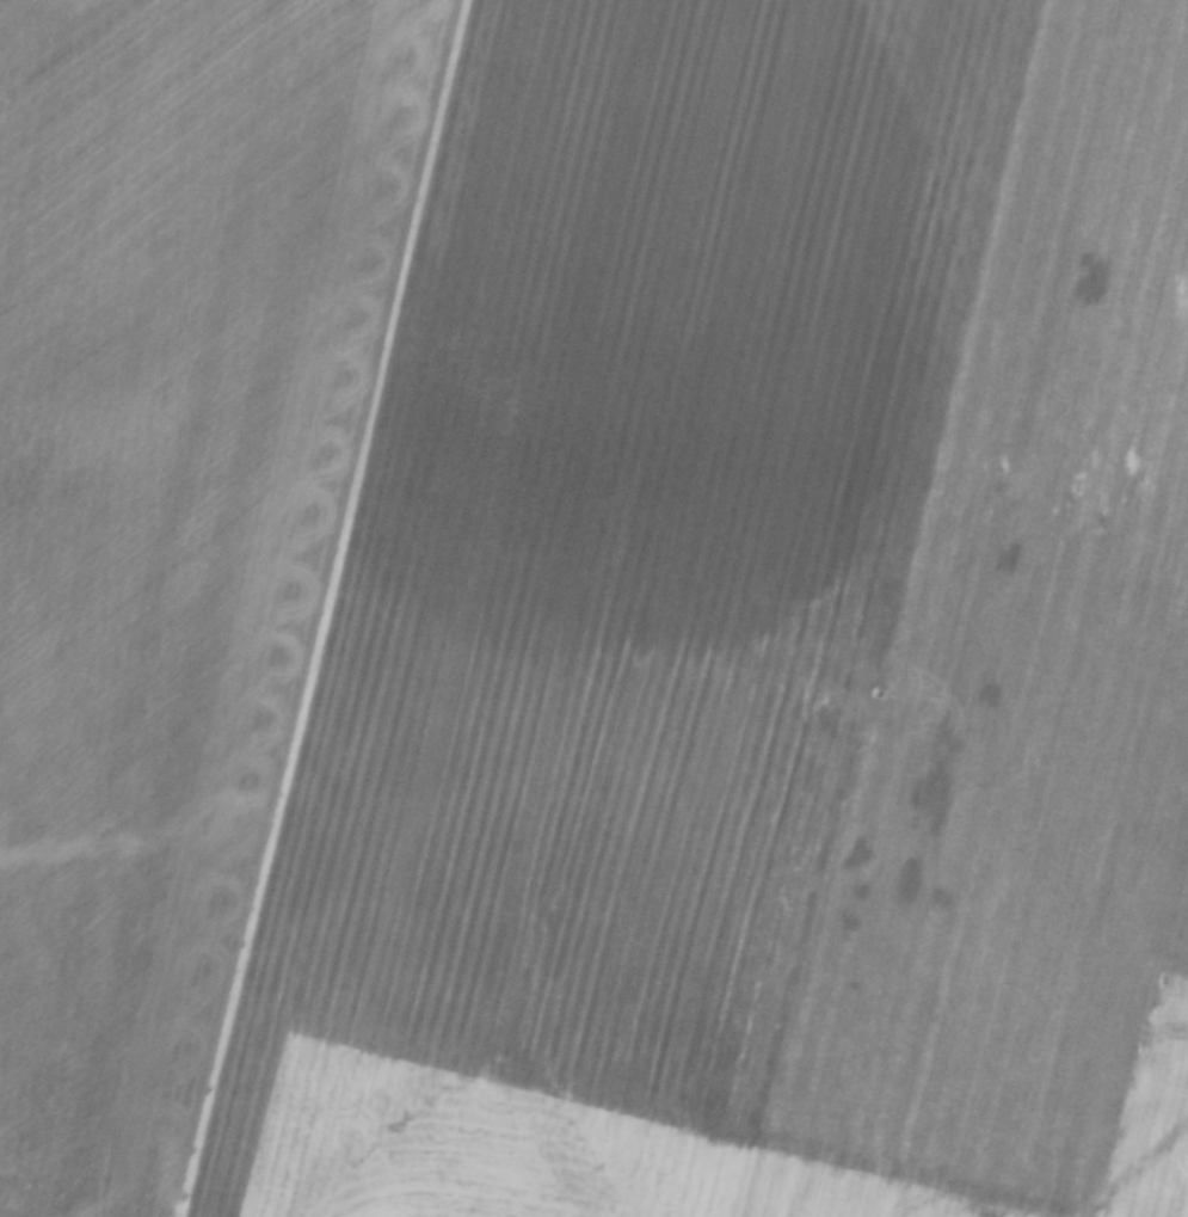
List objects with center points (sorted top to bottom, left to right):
road: (319, 609)
road: (1169, 1009)
road: (1177, 1050)
road: (1155, 1096)
road: (295, 1127)
road: (1159, 1133)
road: (260, 1142)
road: (635, 1143)
road: (324, 1154)
park: (1172, 1157)
road: (509, 1174)
road: (694, 1174)

